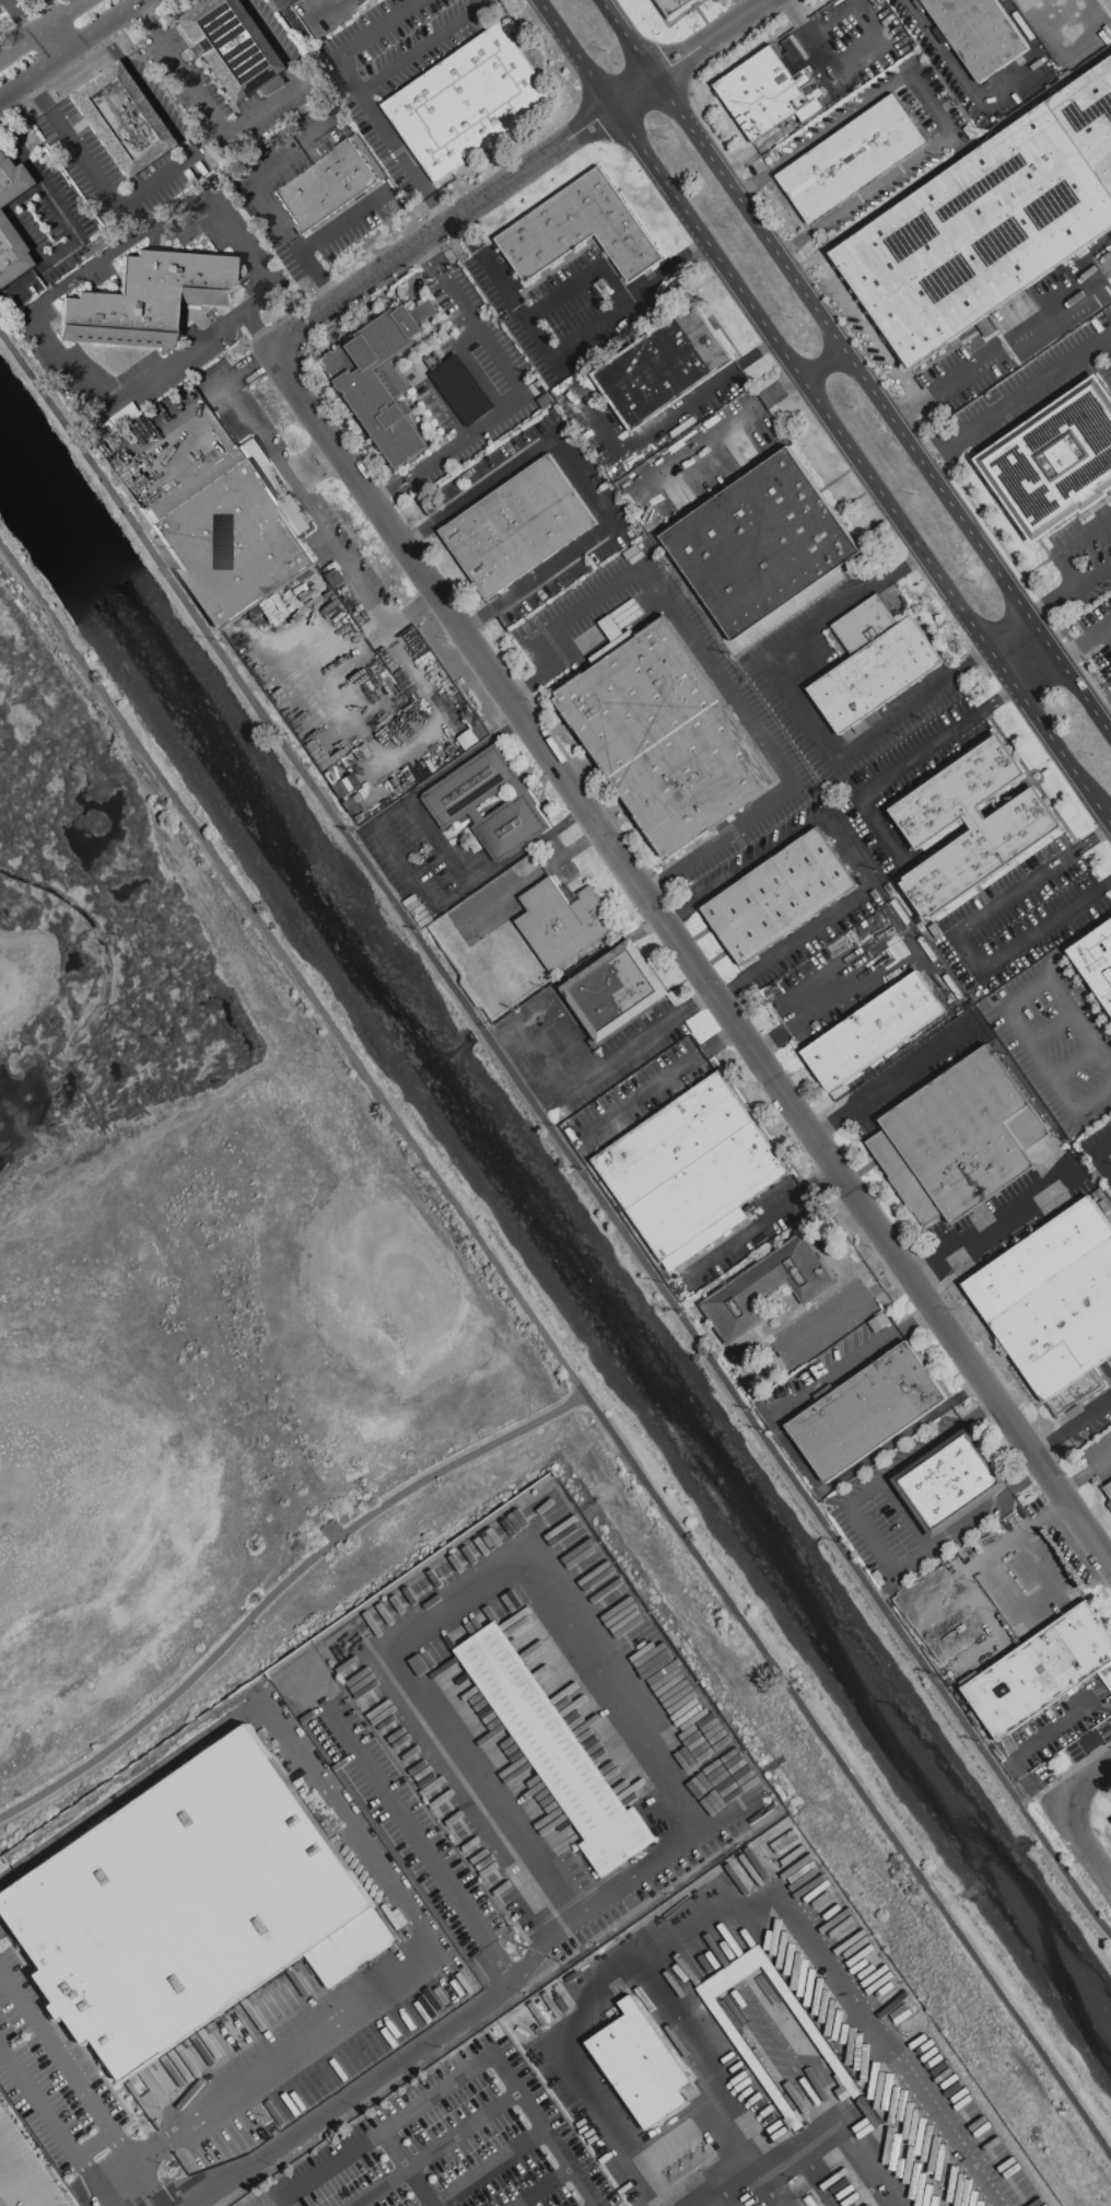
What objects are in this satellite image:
road: (1027, 4)
road: (1037, 4)
building: (674, 7)
road: (50, 11)
road: (797, 18)
road: (22, 20)
road: (45, 32)
building: (980, 34)
road: (361, 40)
road: (880, 40)
road: (1065, 44)
building: (230, 47)
road: (421, 48)
road: (71, 49)
road: (575, 55)
road: (692, 55)
building: (768, 98)
road: (993, 98)
building: (468, 103)
road: (929, 105)
building: (119, 118)
road: (239, 124)
road: (404, 159)
building: (852, 159)
road: (531, 167)
road: (152, 176)
building: (11, 178)
building: (326, 186)
road: (268, 198)
road: (68, 221)
building: (987, 221)
road: (346, 222)
building: (580, 230)
building: (10, 253)
road: (72, 279)
road: (578, 285)
road: (361, 288)
building: (148, 298)
road: (862, 314)
road: (561, 350)
road: (1002, 351)
road: (821, 363)
road: (475, 364)
building: (663, 367)
road: (856, 367)
building: (383, 379)
road: (432, 390)
road: (1030, 393)
road: (525, 395)
road: (663, 418)
road: (702, 444)
road: (949, 449)
building: (1056, 462)
road: (858, 465)
road: (706, 468)
road: (578, 483)
road: (308, 503)
building: (518, 526)
building: (233, 530)
building: (761, 544)
road: (1075, 550)
road: (1097, 576)
road: (1056, 601)
parking lot: (1098, 631)
road: (1011, 637)
road: (1107, 638)
road: (1086, 643)
road: (709, 664)
building: (874, 664)
road: (797, 711)
building: (667, 738)
road: (901, 765)
building: (455, 802)
road: (572, 816)
road: (1108, 823)
building: (1015, 827)
road: (428, 828)
road: (846, 850)
road: (405, 864)
building: (780, 896)
building: (564, 922)
road: (960, 937)
road: (850, 939)
road: (1075, 941)
road: (691, 957)
building: (1097, 960)
road: (863, 977)
building: (616, 990)
road: (1005, 1011)
road: (1053, 1026)
building: (874, 1032)
road: (1076, 1060)
road: (606, 1069)
road: (894, 1079)
road: (657, 1084)
road: (553, 1131)
building: (960, 1139)
building: (674, 1140)
road: (1099, 1157)
building: (709, 1191)
road: (760, 1223)
road: (994, 1223)
park: (207, 1265)
building: (770, 1286)
building: (1055, 1305)
road: (845, 1312)
road: (555, 1352)
road: (859, 1360)
building: (866, 1413)
road: (1073, 1427)
road: (1086, 1474)
building: (951, 1481)
building: (1109, 1489)
road: (905, 1513)
road: (870, 1540)
road: (975, 1563)
road: (534, 1574)
road: (279, 1588)
road: (1041, 1601)
building: (1041, 1671)
building: (1107, 1674)
road: (1081, 1708)
parking lot: (552, 1728)
road: (1038, 1742)
building: (557, 1750)
road: (156, 1773)
road: (1088, 1784)
parking lot: (407, 1824)
road: (418, 1839)
road: (1086, 1848)
road: (774, 1895)
building: (191, 1908)
building: (747, 1965)
road: (394, 1975)
parking lot: (312, 2007)
road: (798, 2023)
building: (640, 2063)
road: (68, 2064)
parking lot: (51, 2077)
road: (460, 2078)
road: (369, 2080)
road: (755, 2083)
road: (42, 2108)
road: (820, 2128)
road: (94, 2141)
parking lot: (455, 2145)
road: (436, 2148)
road: (131, 2164)
road: (410, 2169)
road: (491, 2169)
parking lot: (23, 2171)
road: (96, 2186)
road: (140, 2186)
road: (776, 2186)
road: (547, 2188)
road: (7, 2195)

